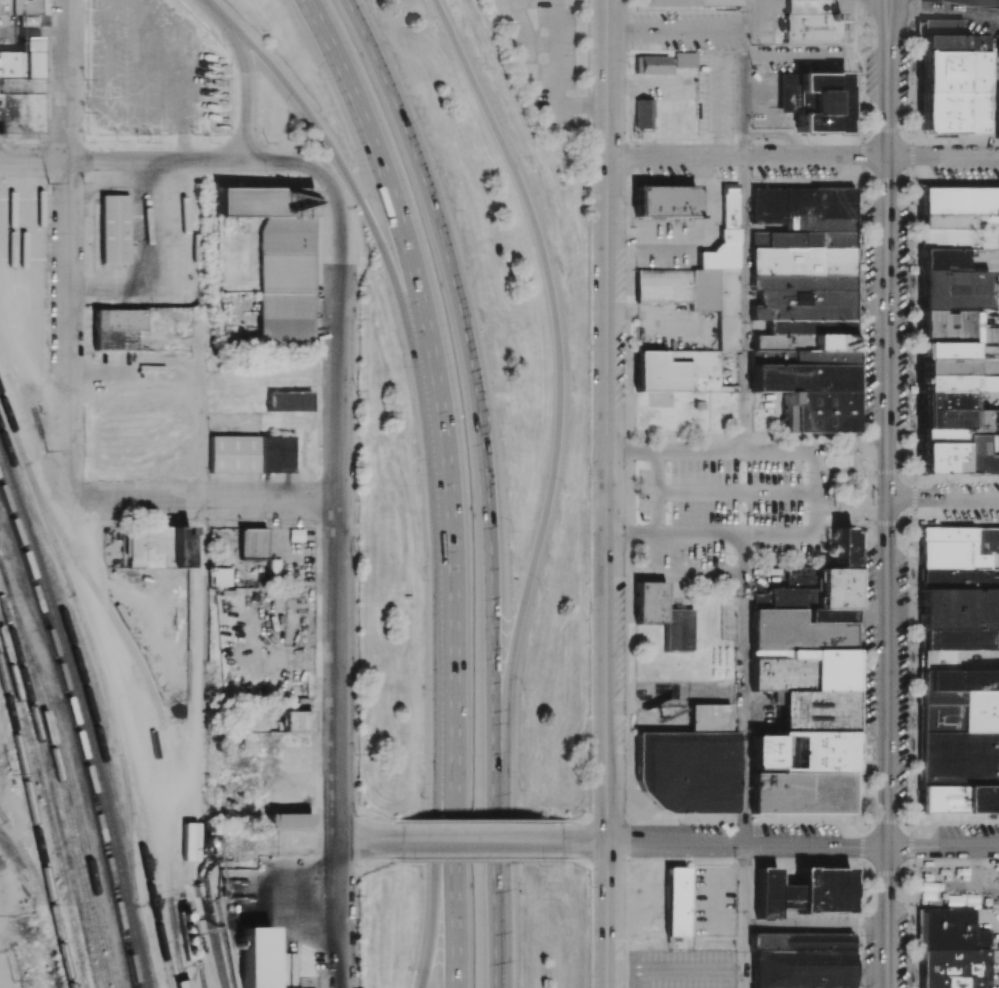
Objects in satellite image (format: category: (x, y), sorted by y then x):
road: (987, 1)
building: (688, 4)
building: (19, 6)
building: (806, 6)
road: (217, 13)
building: (808, 28)
road: (677, 30)
road: (525, 32)
building: (997, 48)
building: (684, 59)
building: (654, 64)
road: (556, 76)
road: (744, 79)
building: (953, 79)
building: (20, 87)
road: (246, 92)
building: (814, 100)
building: (643, 113)
building: (997, 113)
road: (804, 158)
road: (160, 160)
building: (666, 200)
road: (400, 224)
road: (374, 225)
building: (114, 228)
building: (757, 239)
road: (69, 247)
building: (277, 260)
building: (704, 276)
building: (805, 304)
road: (743, 305)
building: (954, 322)
building: (117, 328)
road: (560, 340)
building: (871, 361)
building: (676, 370)
road: (478, 392)
building: (288, 400)
road: (609, 421)
road: (201, 426)
road: (634, 451)
road: (701, 452)
road: (779, 452)
building: (251, 453)
building: (981, 455)
road: (659, 473)
road: (737, 493)
road: (887, 493)
road: (816, 494)
road: (943, 499)
road: (209, 500)
road: (339, 503)
parking lot: (733, 511)
road: (659, 515)
railway: (44, 530)
road: (634, 535)
road: (737, 536)
building: (770, 542)
building: (252, 543)
building: (156, 546)
road: (659, 554)
railway: (12, 566)
road: (701, 573)
building: (221, 576)
railway: (5, 580)
railway: (96, 589)
road: (103, 596)
road: (450, 605)
railway: (34, 610)
building: (664, 614)
railway: (91, 642)
road: (297, 654)
road: (199, 670)
building: (958, 671)
building: (806, 688)
road: (744, 690)
railway: (90, 703)
railway: (84, 714)
building: (297, 720)
railway: (78, 731)
road: (502, 755)
building: (690, 764)
railway: (69, 769)
railway: (53, 791)
railway: (64, 795)
road: (448, 801)
railway: (47, 806)
railway: (3, 816)
building: (288, 819)
road: (608, 820)
road: (375, 822)
road: (578, 822)
railway: (36, 825)
road: (479, 825)
road: (359, 840)
road: (365, 840)
road: (479, 841)
road: (783, 844)
road: (479, 856)
road: (374, 857)
road: (579, 859)
road: (609, 862)
road: (454, 868)
railway: (147, 870)
railway: (36, 872)
building: (803, 891)
road: (499, 897)
building: (676, 901)
road: (340, 914)
road: (609, 915)
road: (744, 916)
road: (433, 920)
building: (952, 950)
building: (801, 960)
building: (184, 983)

